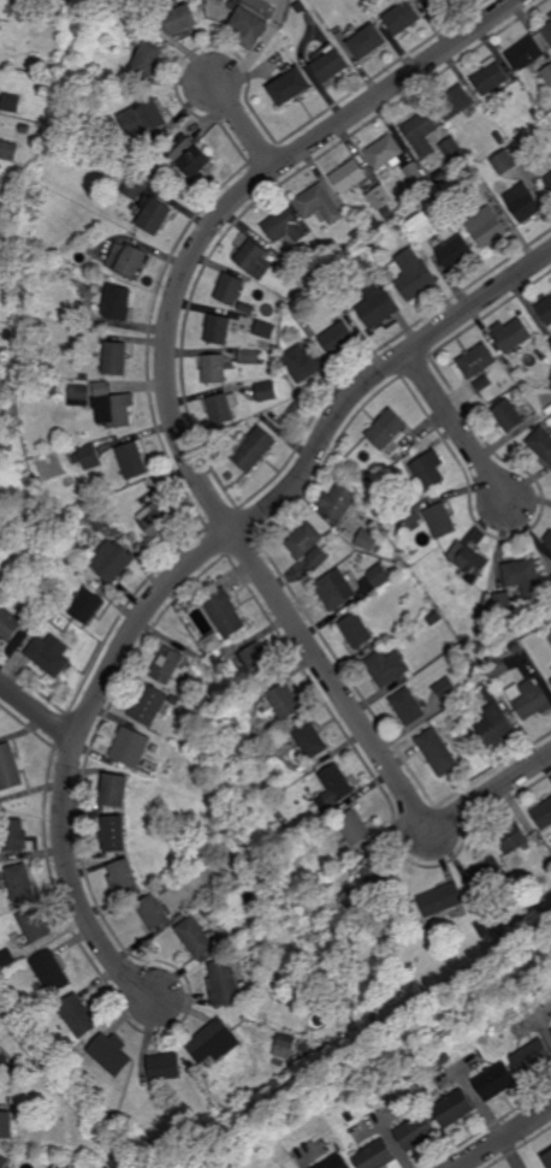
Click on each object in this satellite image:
building: (434, 4)
building: (143, 10)
building: (306, 13)
building: (550, 16)
building: (182, 17)
building: (402, 17)
building: (124, 18)
building: (248, 19)
building: (2, 28)
building: (547, 31)
building: (366, 40)
building: (283, 52)
building: (525, 53)
building: (149, 55)
building: (330, 64)
building: (547, 73)
building: (490, 77)
building: (289, 85)
building: (12, 102)
building: (455, 102)
building: (537, 114)
building: (154, 115)
road: (242, 123)
building: (25, 129)
building: (421, 134)
building: (499, 136)
building: (10, 149)
building: (454, 150)
building: (142, 153)
building: (385, 153)
building: (199, 162)
building: (505, 162)
building: (161, 165)
building: (414, 172)
building: (120, 174)
building: (349, 176)
building: (442, 176)
building: (427, 179)
building: (549, 180)
building: (136, 185)
building: (194, 196)
building: (380, 197)
building: (525, 202)
building: (319, 204)
building: (387, 212)
building: (158, 215)
building: (375, 223)
building: (284, 226)
building: (399, 226)
building: (487, 227)
building: (359, 236)
building: (457, 245)
building: (83, 253)
building: (253, 259)
building: (134, 261)
building: (324, 261)
building: (289, 273)
building: (414, 274)
building: (231, 289)
building: (374, 297)
building: (120, 303)
building: (248, 309)
building: (546, 310)
building: (219, 330)
building: (265, 330)
building: (310, 332)
building: (515, 336)
building: (338, 338)
building: (550, 344)
building: (543, 354)
building: (273, 355)
building: (249, 357)
building: (117, 358)
building: (478, 361)
building: (303, 363)
road: (166, 367)
building: (215, 369)
building: (484, 384)
building: (82, 389)
building: (53, 390)
building: (266, 391)
building: (224, 408)
building: (296, 408)
building: (114, 410)
building: (510, 417)
building: (550, 423)
building: (387, 429)
road: (467, 439)
building: (543, 444)
building: (253, 450)
building: (90, 456)
building: (77, 460)
building: (134, 461)
building: (429, 470)
building: (363, 478)
road: (295, 481)
building: (339, 503)
building: (389, 516)
building: (413, 517)
building: (101, 520)
building: (156, 521)
building: (442, 522)
building: (131, 538)
building: (101, 539)
building: (549, 540)
building: (304, 541)
building: (368, 541)
building: (138, 545)
building: (0, 549)
building: (342, 555)
building: (318, 557)
building: (470, 561)
building: (113, 562)
building: (521, 571)
building: (379, 574)
building: (547, 579)
building: (336, 588)
building: (503, 600)
building: (87, 605)
building: (446, 606)
building: (224, 611)
building: (52, 613)
building: (10, 622)
building: (356, 630)
building: (550, 635)
building: (451, 639)
building: (212, 642)
building: (537, 642)
building: (516, 647)
building: (425, 648)
building: (49, 654)
building: (213, 658)
building: (201, 659)
building: (254, 662)
building: (168, 663)
building: (385, 666)
building: (497, 668)
building: (550, 680)
building: (446, 688)
building: (491, 692)
building: (529, 698)
building: (285, 699)
building: (177, 700)
building: (150, 705)
building: (407, 706)
building: (452, 710)
road: (37, 713)
building: (496, 724)
building: (261, 737)
building: (310, 739)
building: (132, 747)
building: (156, 749)
building: (438, 751)
building: (266, 755)
building: (149, 764)
building: (10, 769)
building: (336, 783)
building: (117, 789)
road: (493, 793)
building: (99, 813)
building: (543, 813)
building: (309, 825)
building: (354, 828)
building: (118, 832)
building: (14, 835)
building: (513, 838)
building: (320, 840)
building: (490, 873)
building: (128, 878)
building: (20, 882)
road: (75, 888)
building: (379, 888)
building: (167, 889)
building: (442, 900)
building: (534, 900)
building: (156, 912)
building: (184, 918)
building: (522, 921)
building: (36, 925)
building: (486, 925)
building: (506, 936)
building: (201, 938)
building: (7, 959)
building: (52, 973)
building: (19, 976)
building: (226, 984)
building: (346, 1009)
building: (350, 1015)
building: (78, 1016)
building: (214, 1042)
building: (286, 1042)
building: (67, 1043)
building: (304, 1048)
building: (112, 1054)
building: (442, 1056)
building: (532, 1057)
building: (166, 1068)
building: (496, 1083)
building: (383, 1091)
building: (454, 1109)
building: (6, 1126)
building: (416, 1132)
building: (315, 1137)
road: (505, 1138)
building: (377, 1156)
building: (549, 1158)
building: (4, 1162)
building: (337, 1162)
building: (71, 1164)

